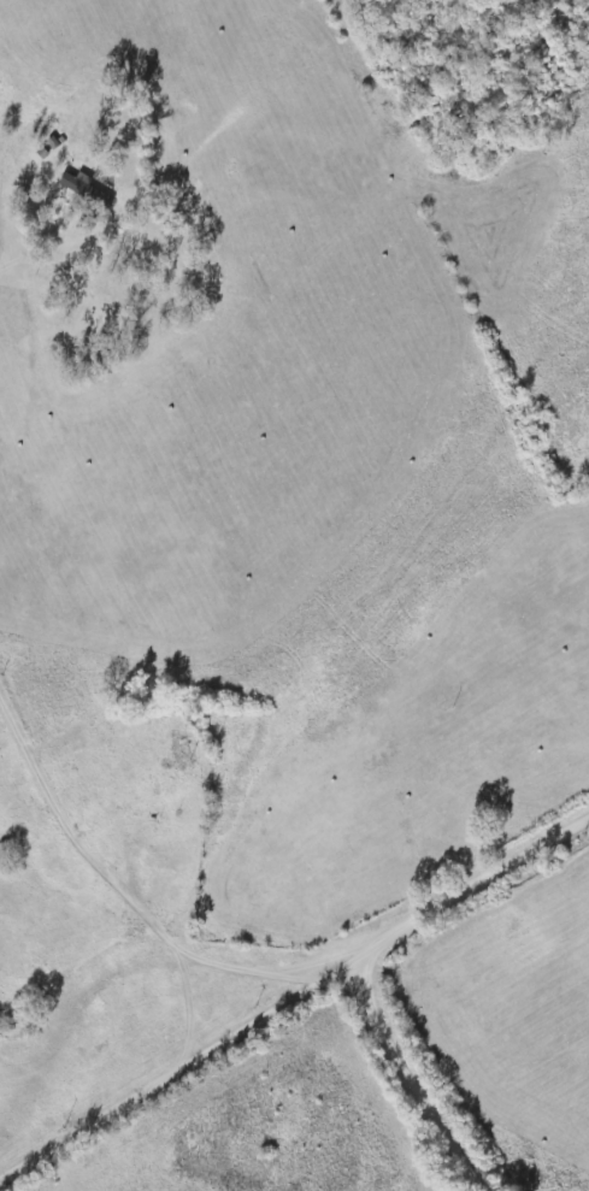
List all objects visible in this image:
road: (460, 918)
road: (155, 1014)
road: (416, 1105)

